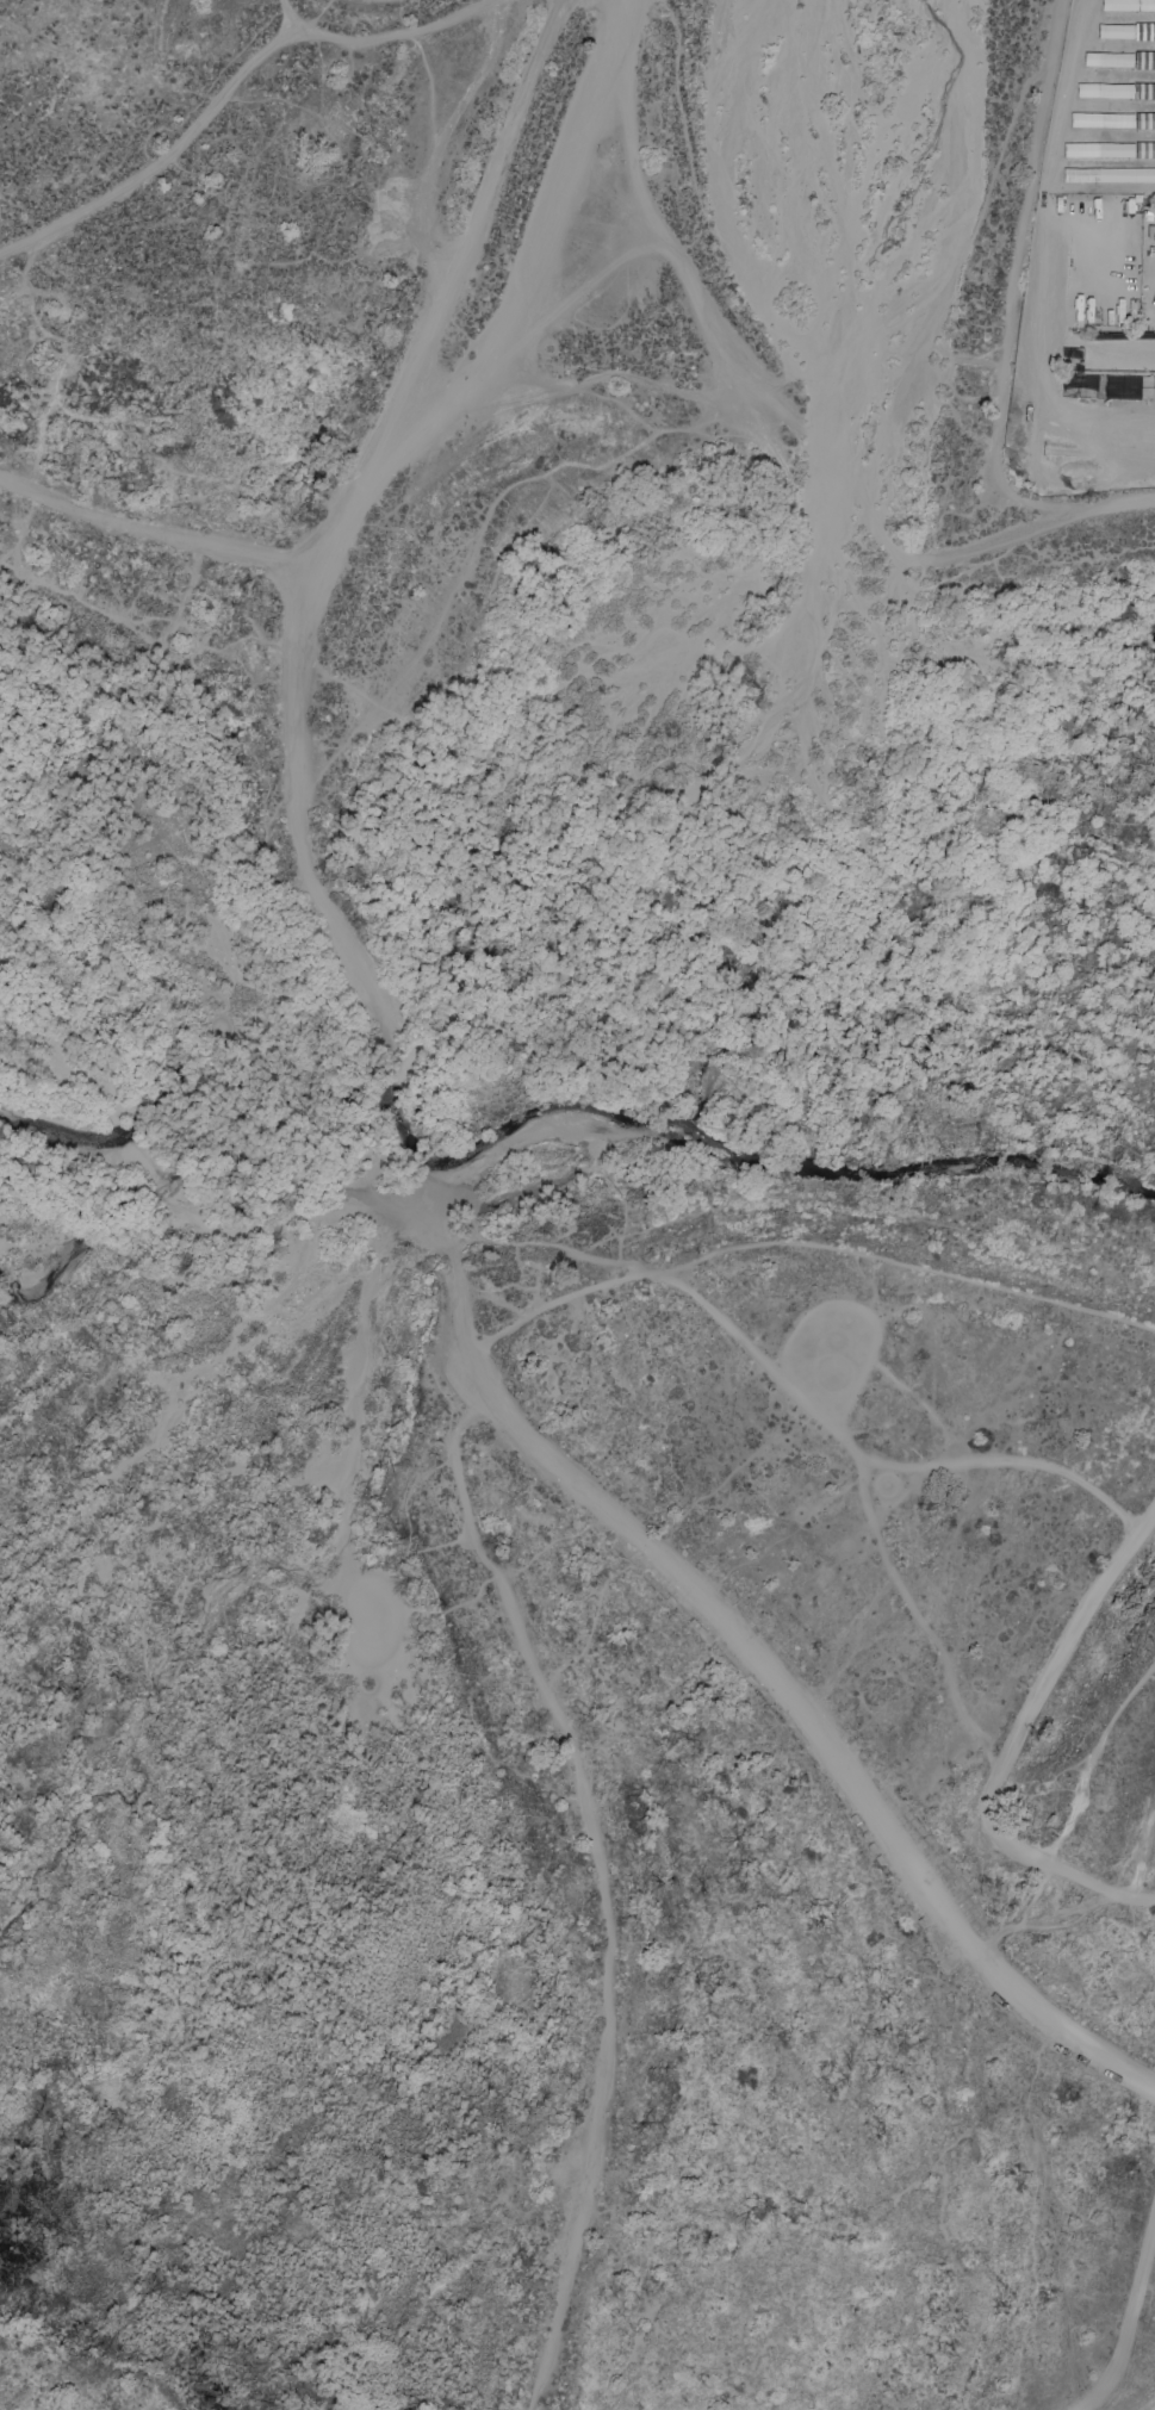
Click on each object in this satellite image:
road: (286, 17)
building: (1143, 30)
building: (1113, 31)
building: (1144, 58)
building: (1116, 60)
road: (224, 81)
building: (1080, 89)
building: (1144, 89)
building: (1114, 91)
building: (1116, 119)
building: (1144, 120)
building: (1079, 149)
building: (1144, 149)
building: (1137, 228)
building: (1138, 255)
road: (516, 312)
road: (1008, 321)
stadium: (1119, 354)
road: (764, 424)
road: (155, 528)
road: (359, 964)
river: (557, 980)
road: (558, 1470)
road: (1010, 1740)
road: (1070, 1809)
road: (601, 1886)
road: (1126, 2313)

